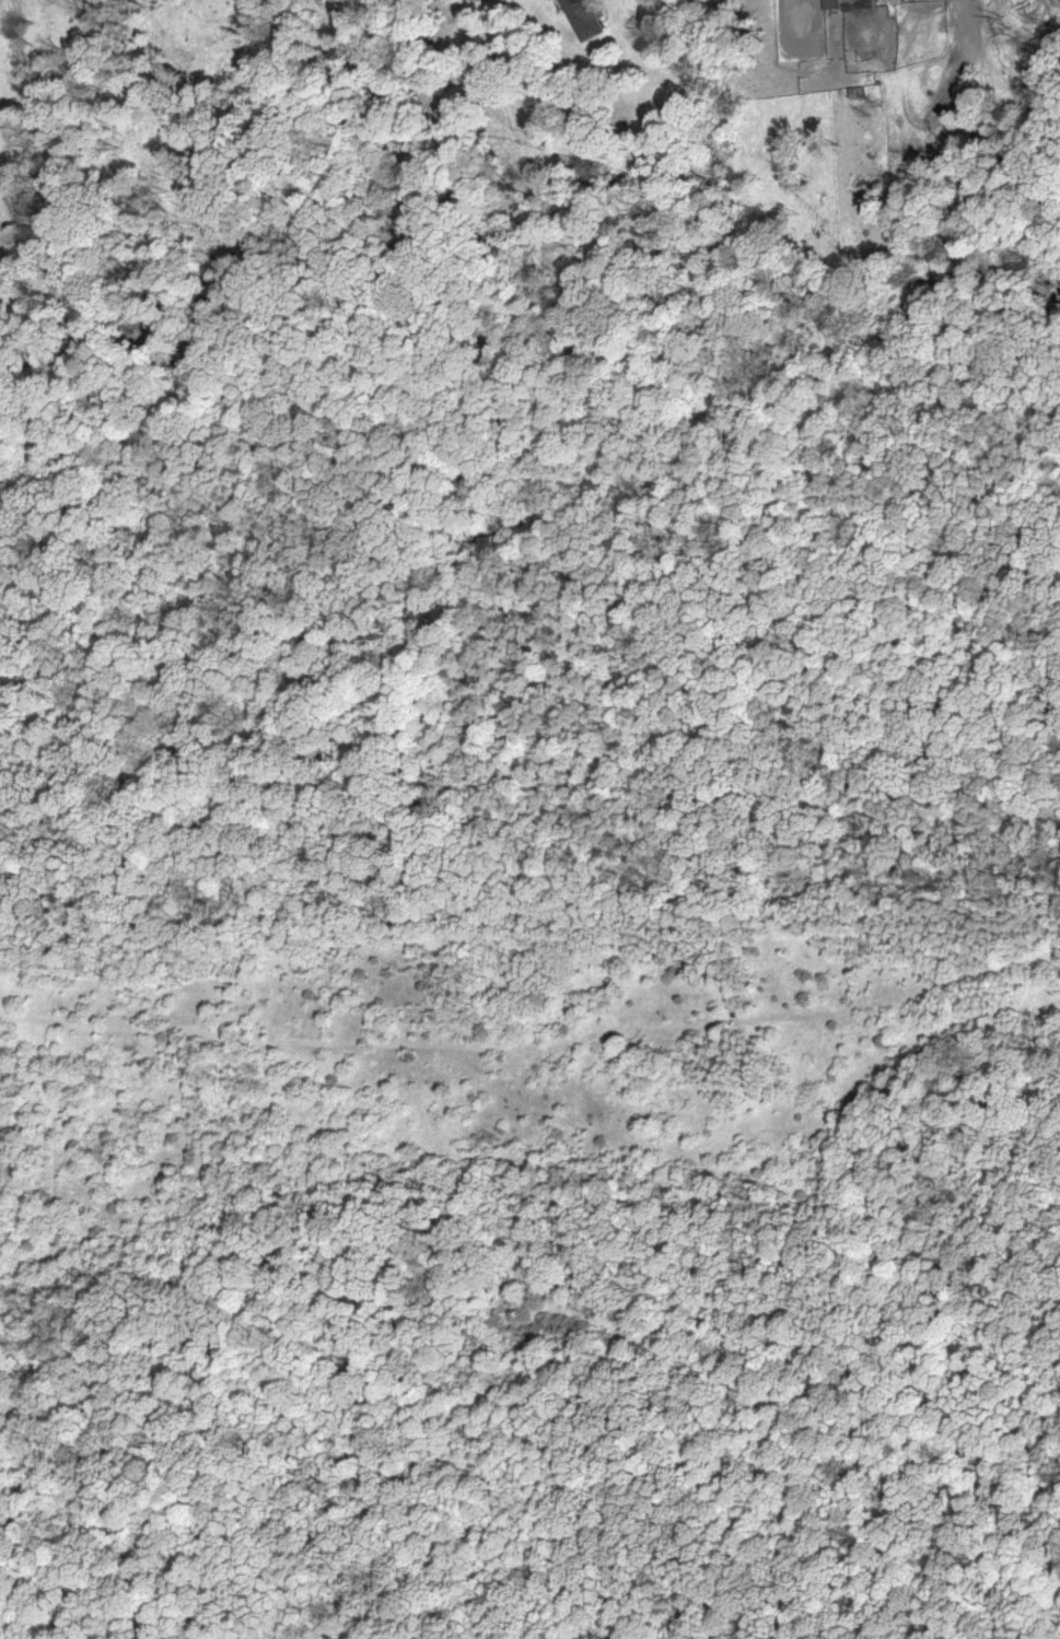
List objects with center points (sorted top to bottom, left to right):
building: (496, 0)
building: (852, 4)
building: (584, 20)

